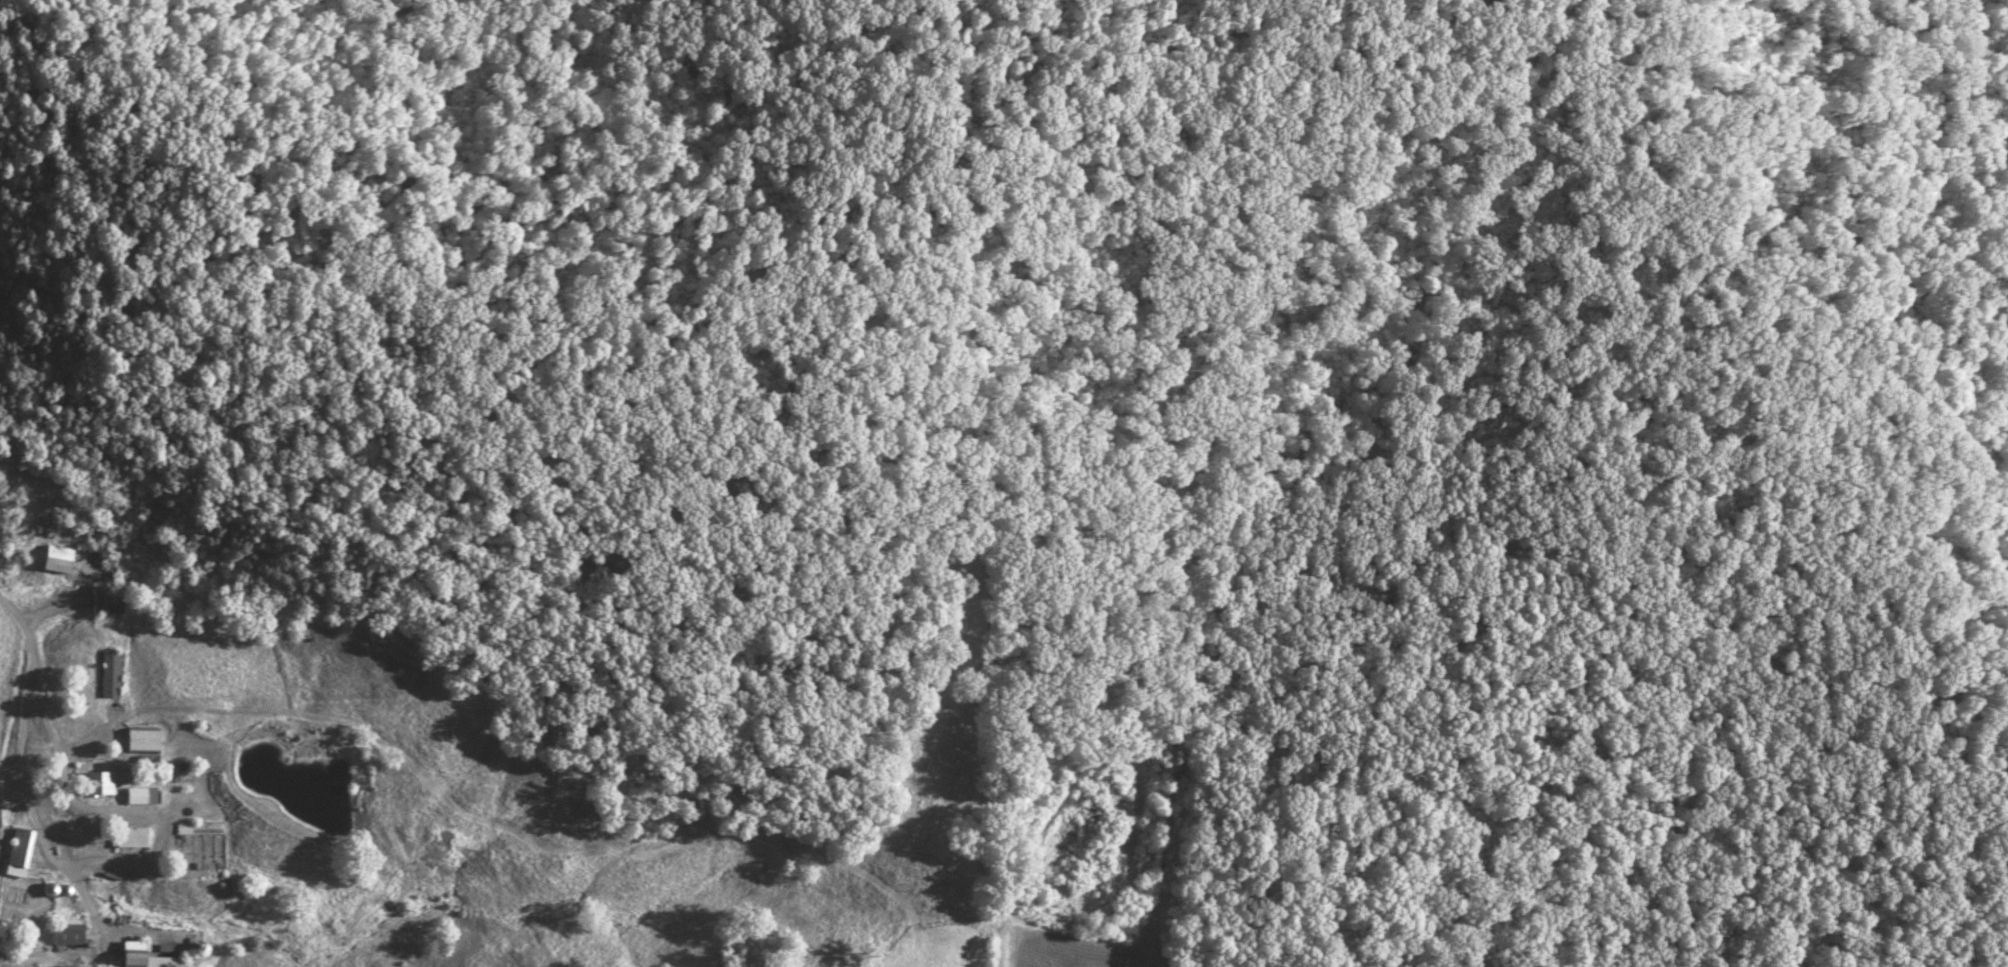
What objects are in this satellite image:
building: (54, 558)
building: (104, 599)
building: (108, 673)
road: (41, 687)
building: (141, 741)
building: (98, 782)
building: (140, 795)
building: (199, 828)
building: (129, 837)
building: (17, 852)
building: (65, 933)
building: (143, 957)

